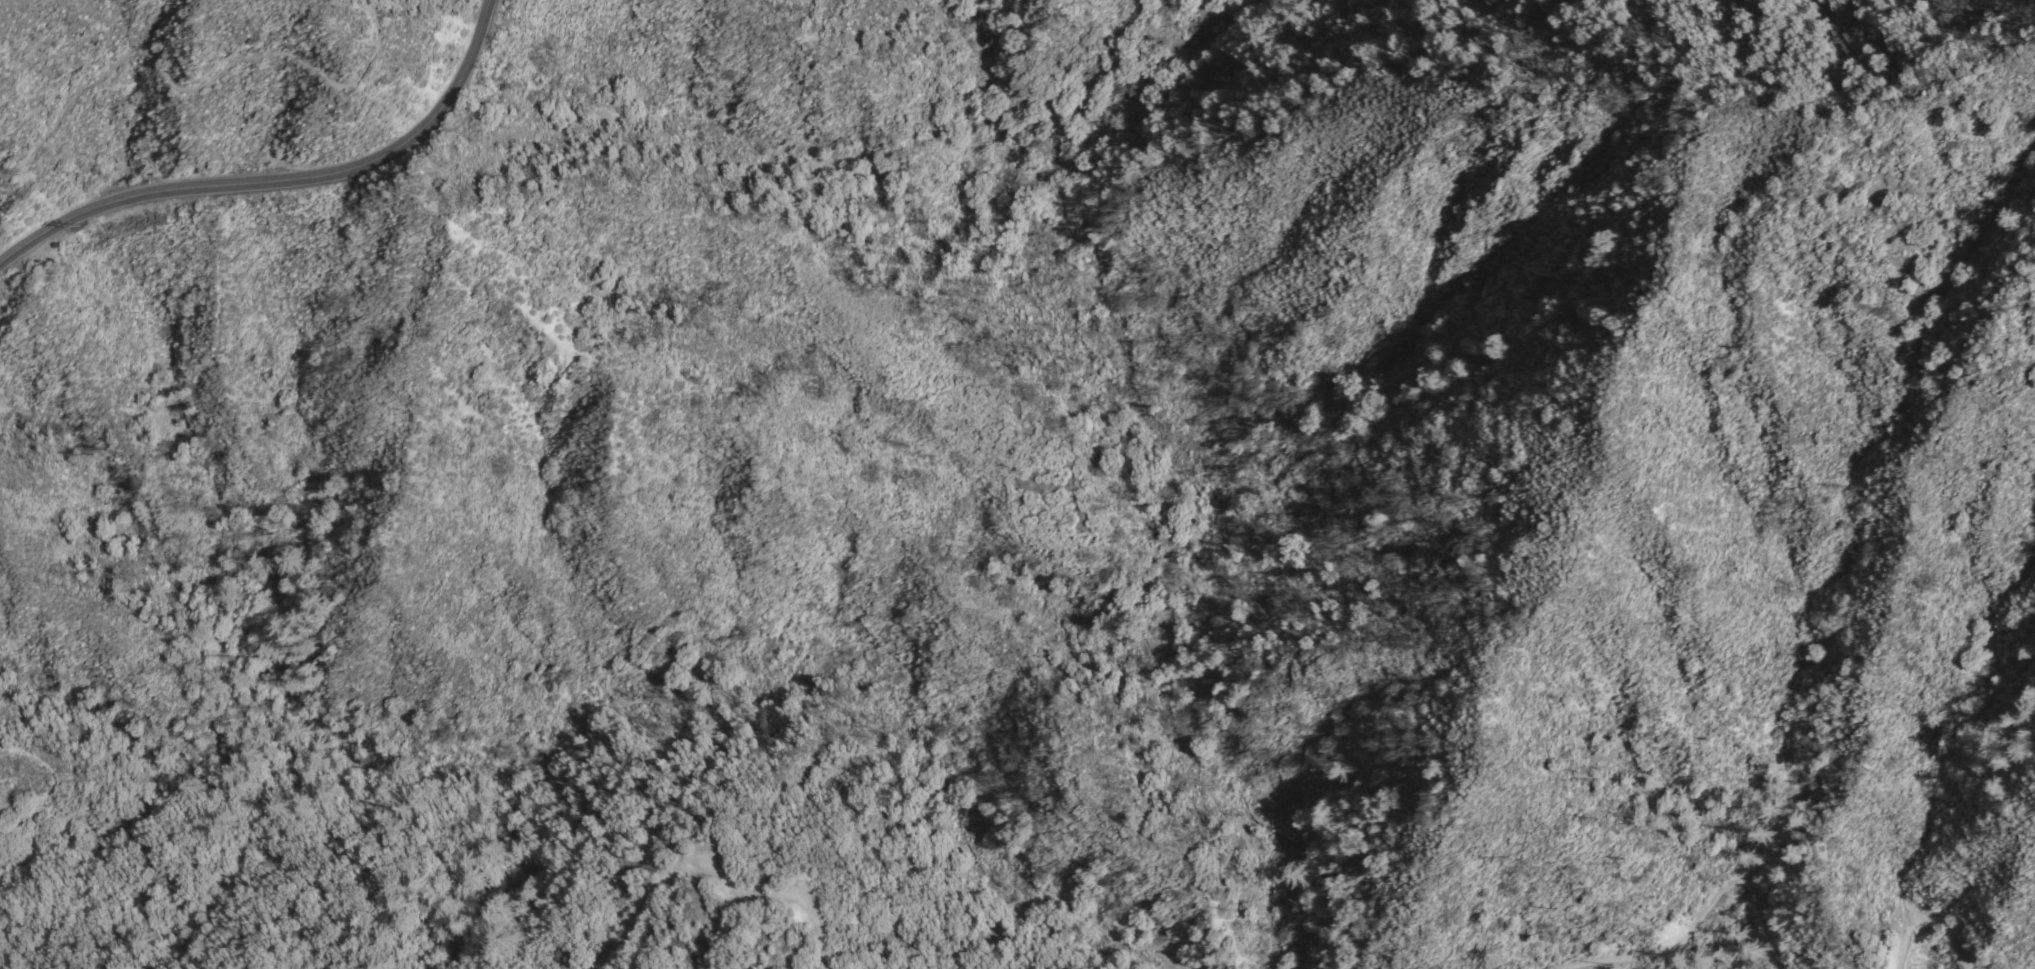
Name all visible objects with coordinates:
road: (198, 86)
road: (286, 180)
power substation: (44, 264)
road: (564, 773)
road: (711, 873)
road: (1706, 925)
road: (1932, 928)

